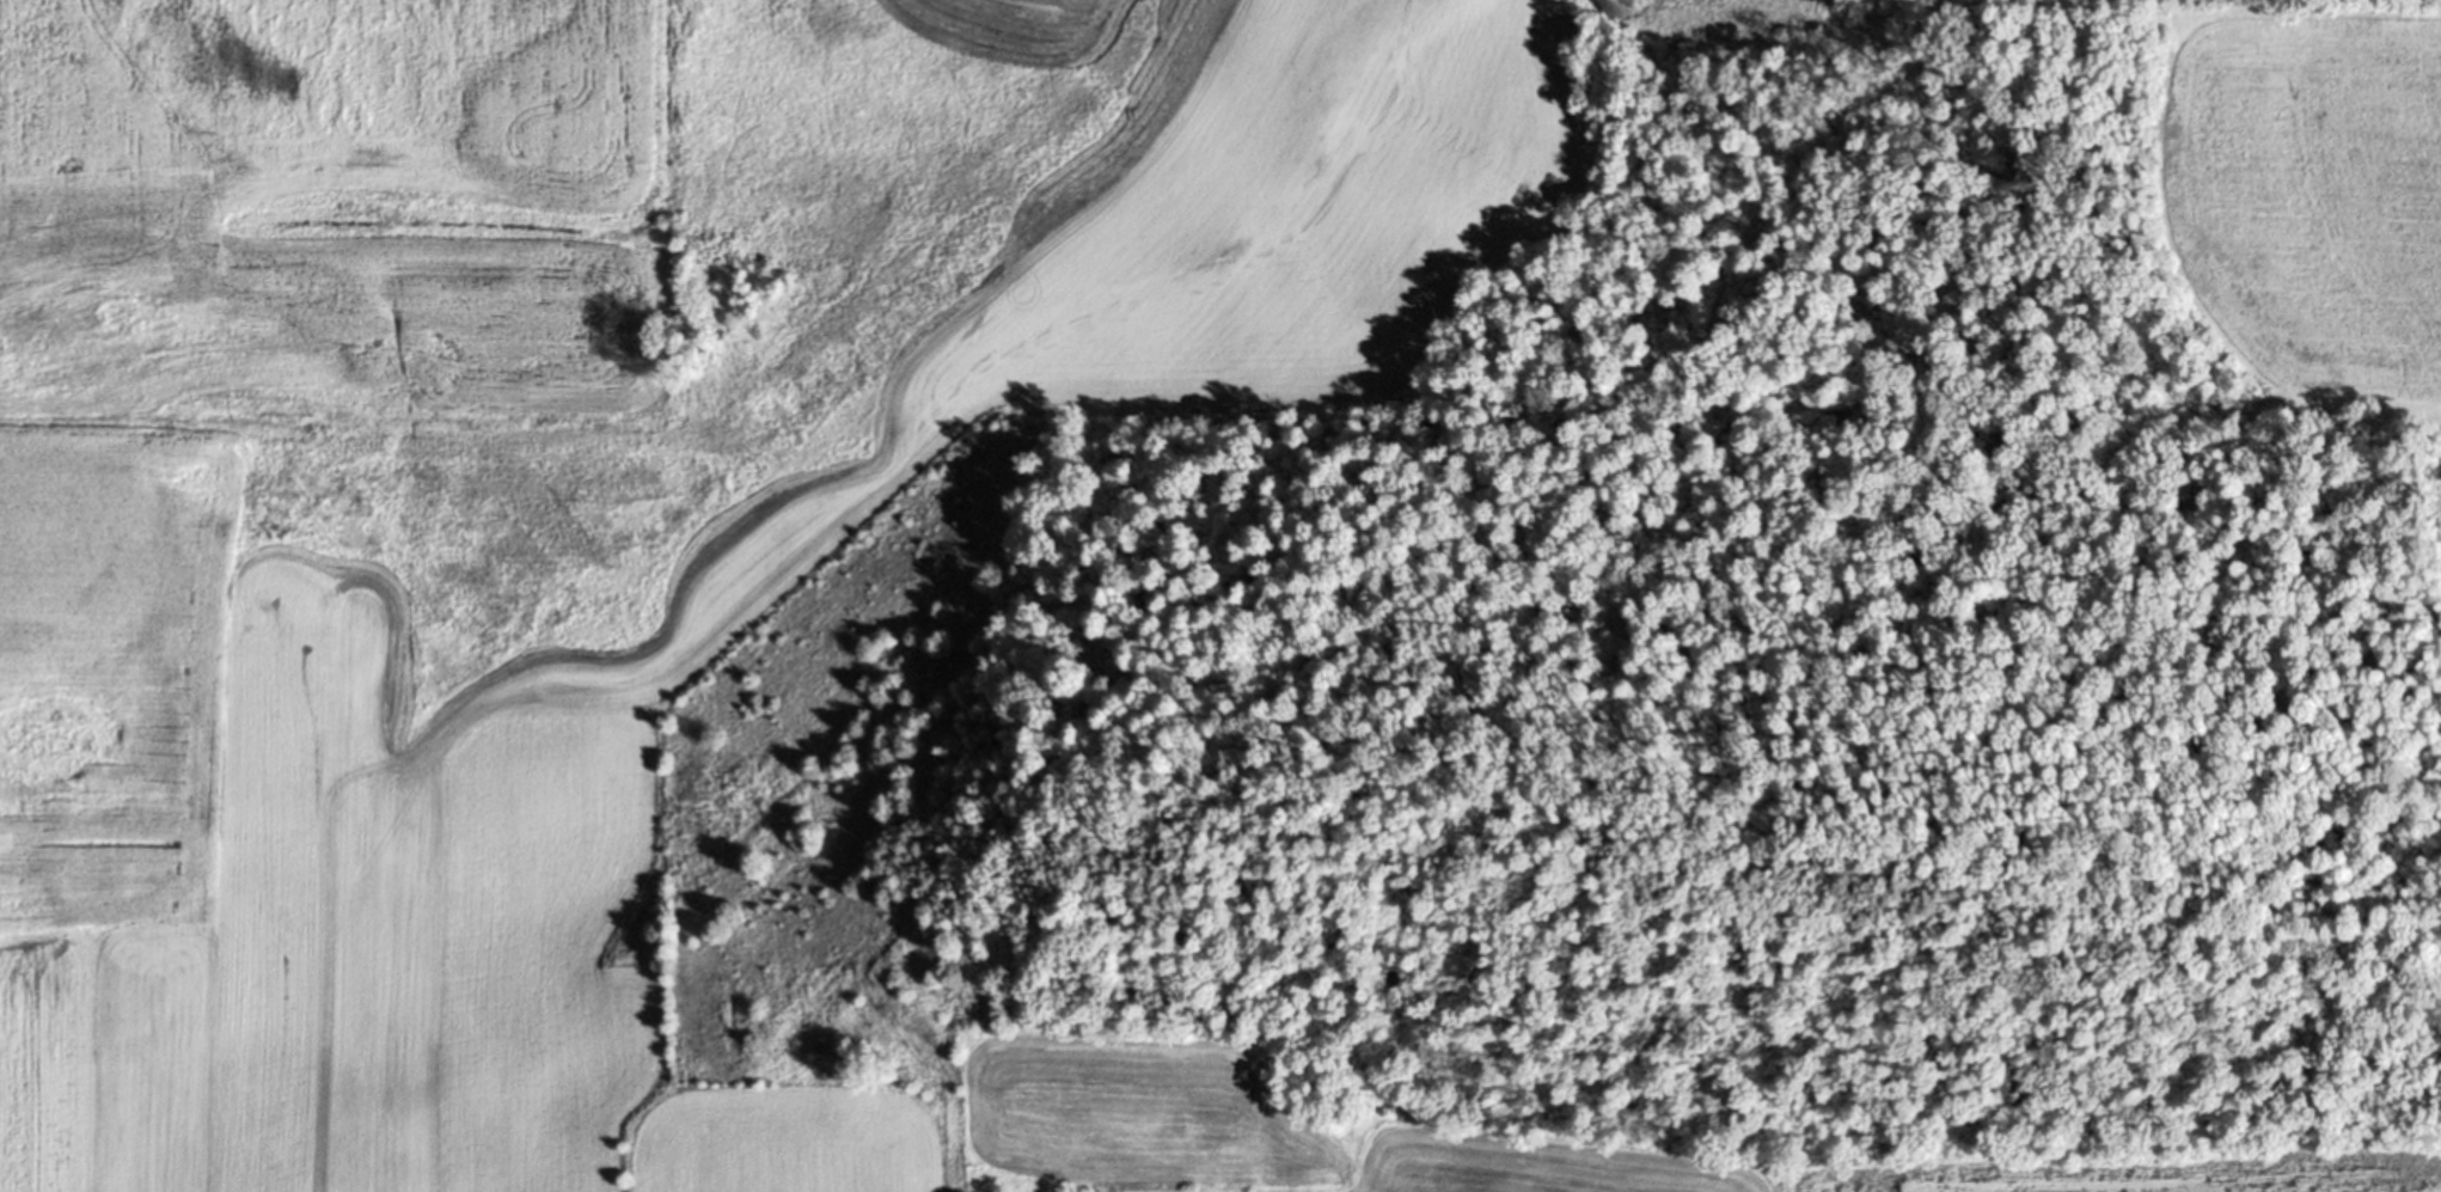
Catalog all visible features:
crop: (2317, 201)

